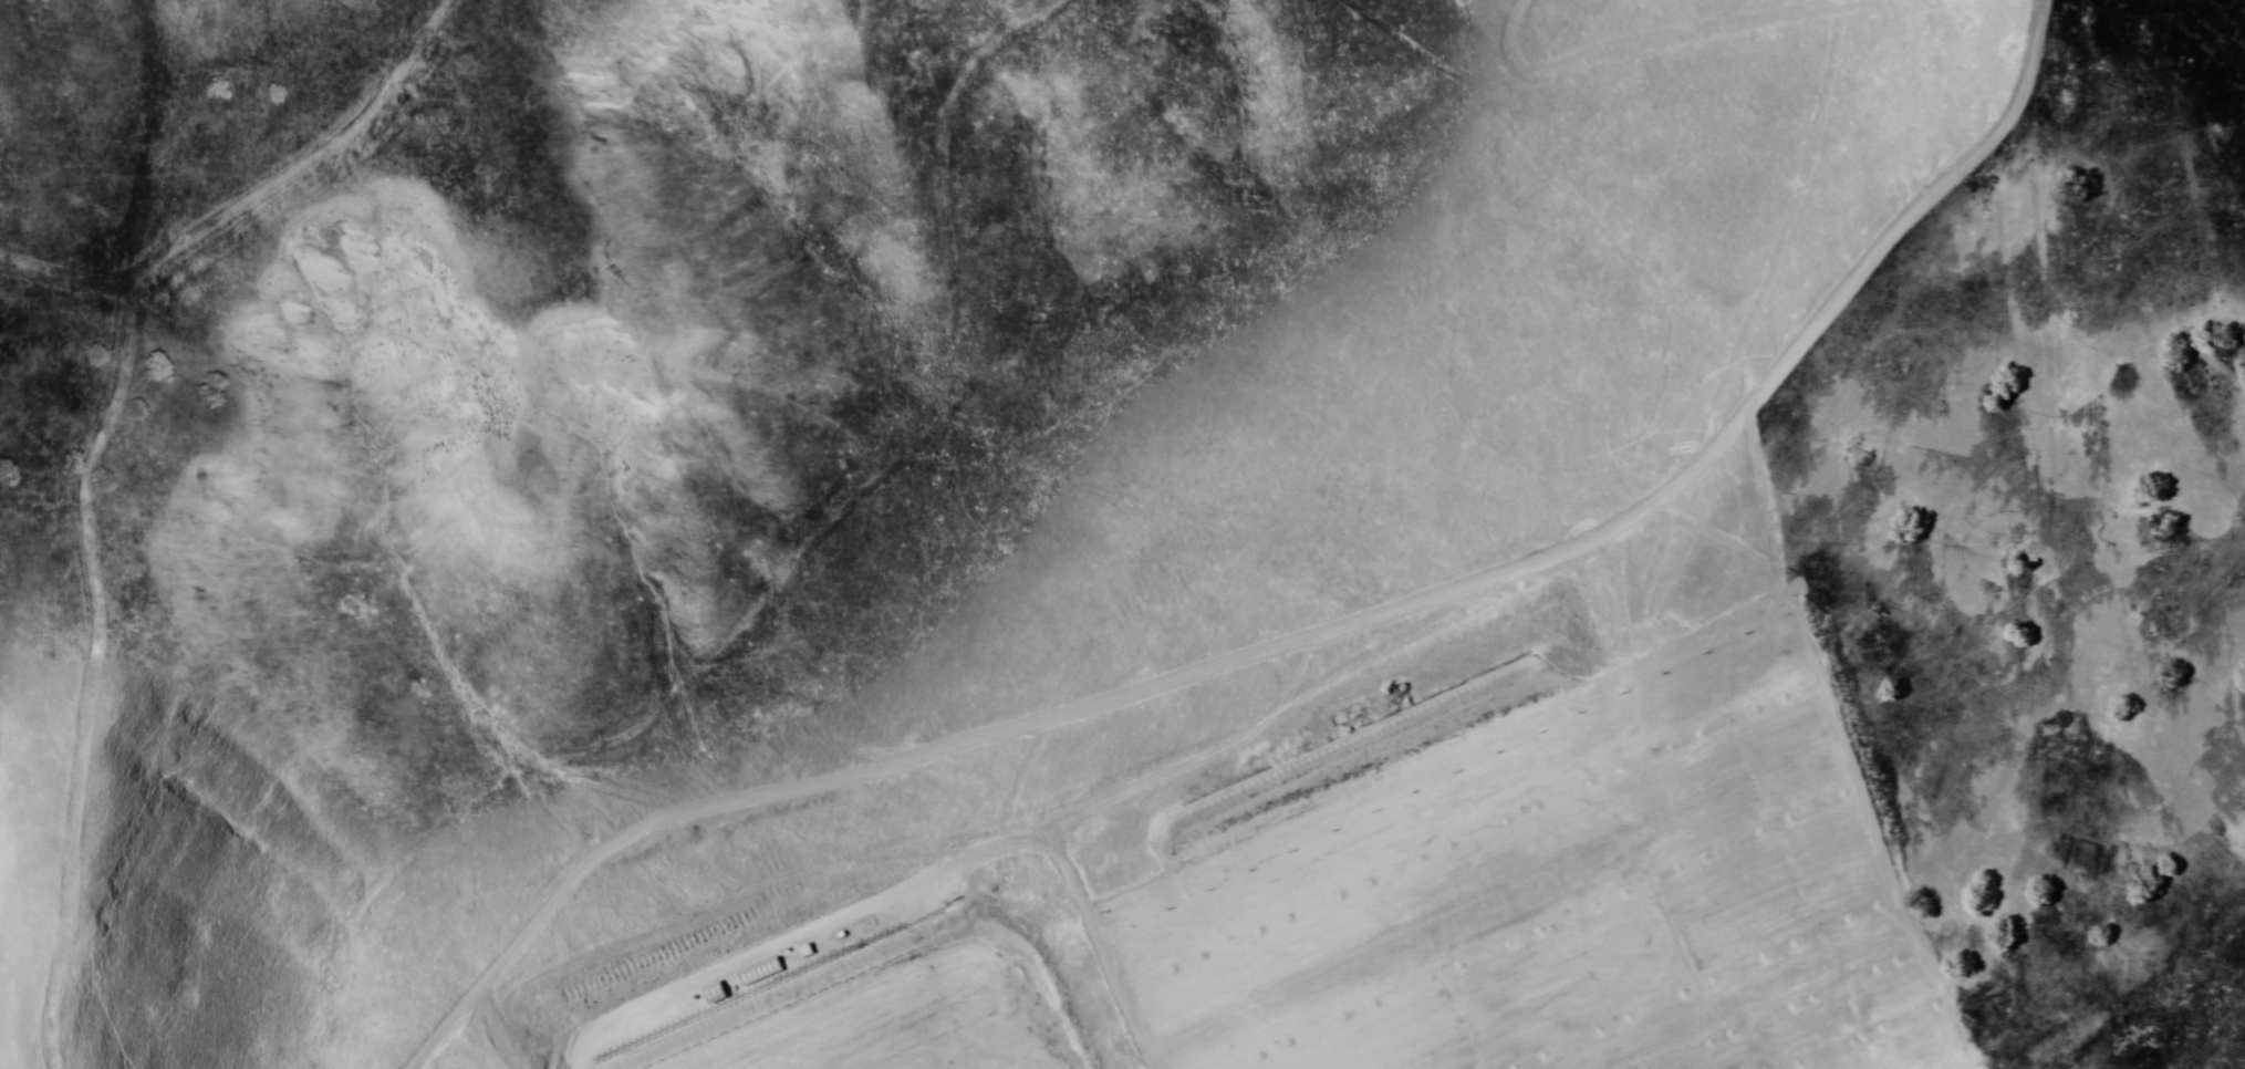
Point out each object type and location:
road: (302, 116)
road: (100, 241)
road: (1813, 332)
road: (70, 637)
road: (1193, 657)
road: (1050, 907)
building: (759, 973)
building: (713, 994)

